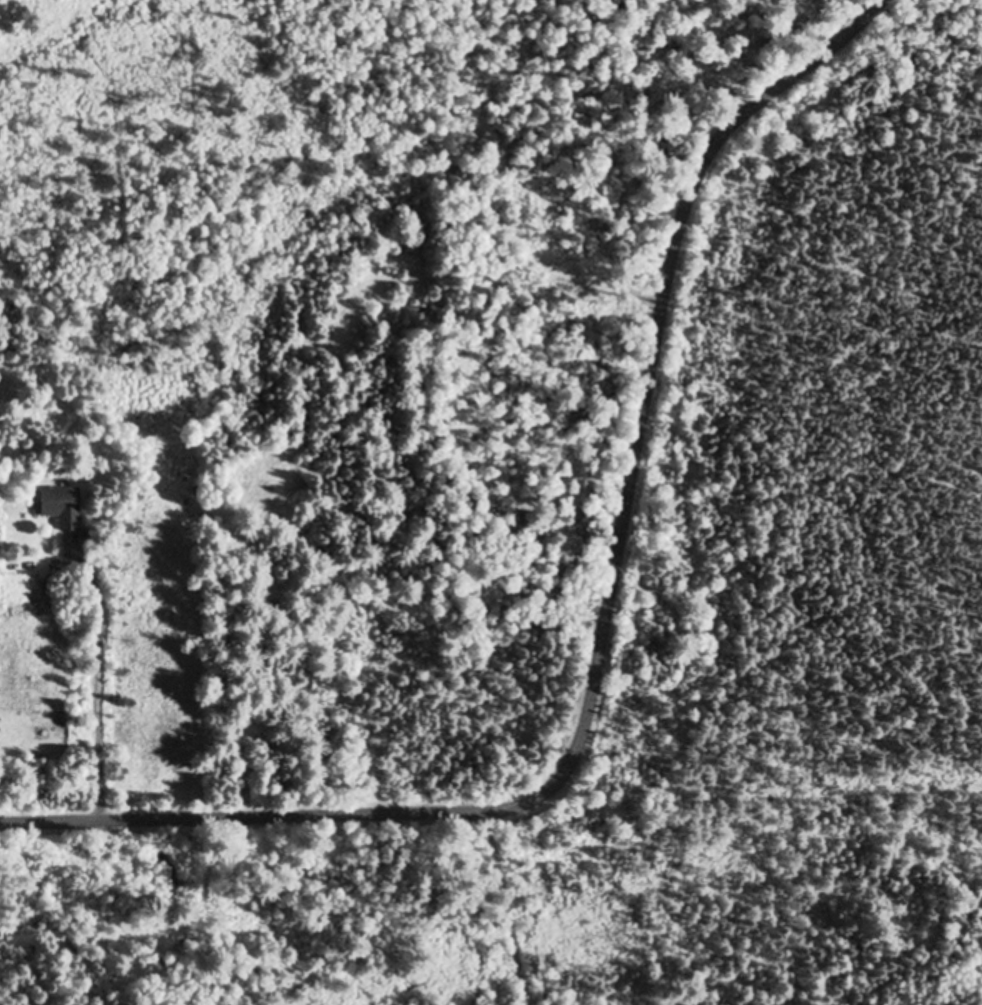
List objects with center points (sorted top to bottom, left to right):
building: (62, 507)
road: (605, 635)

